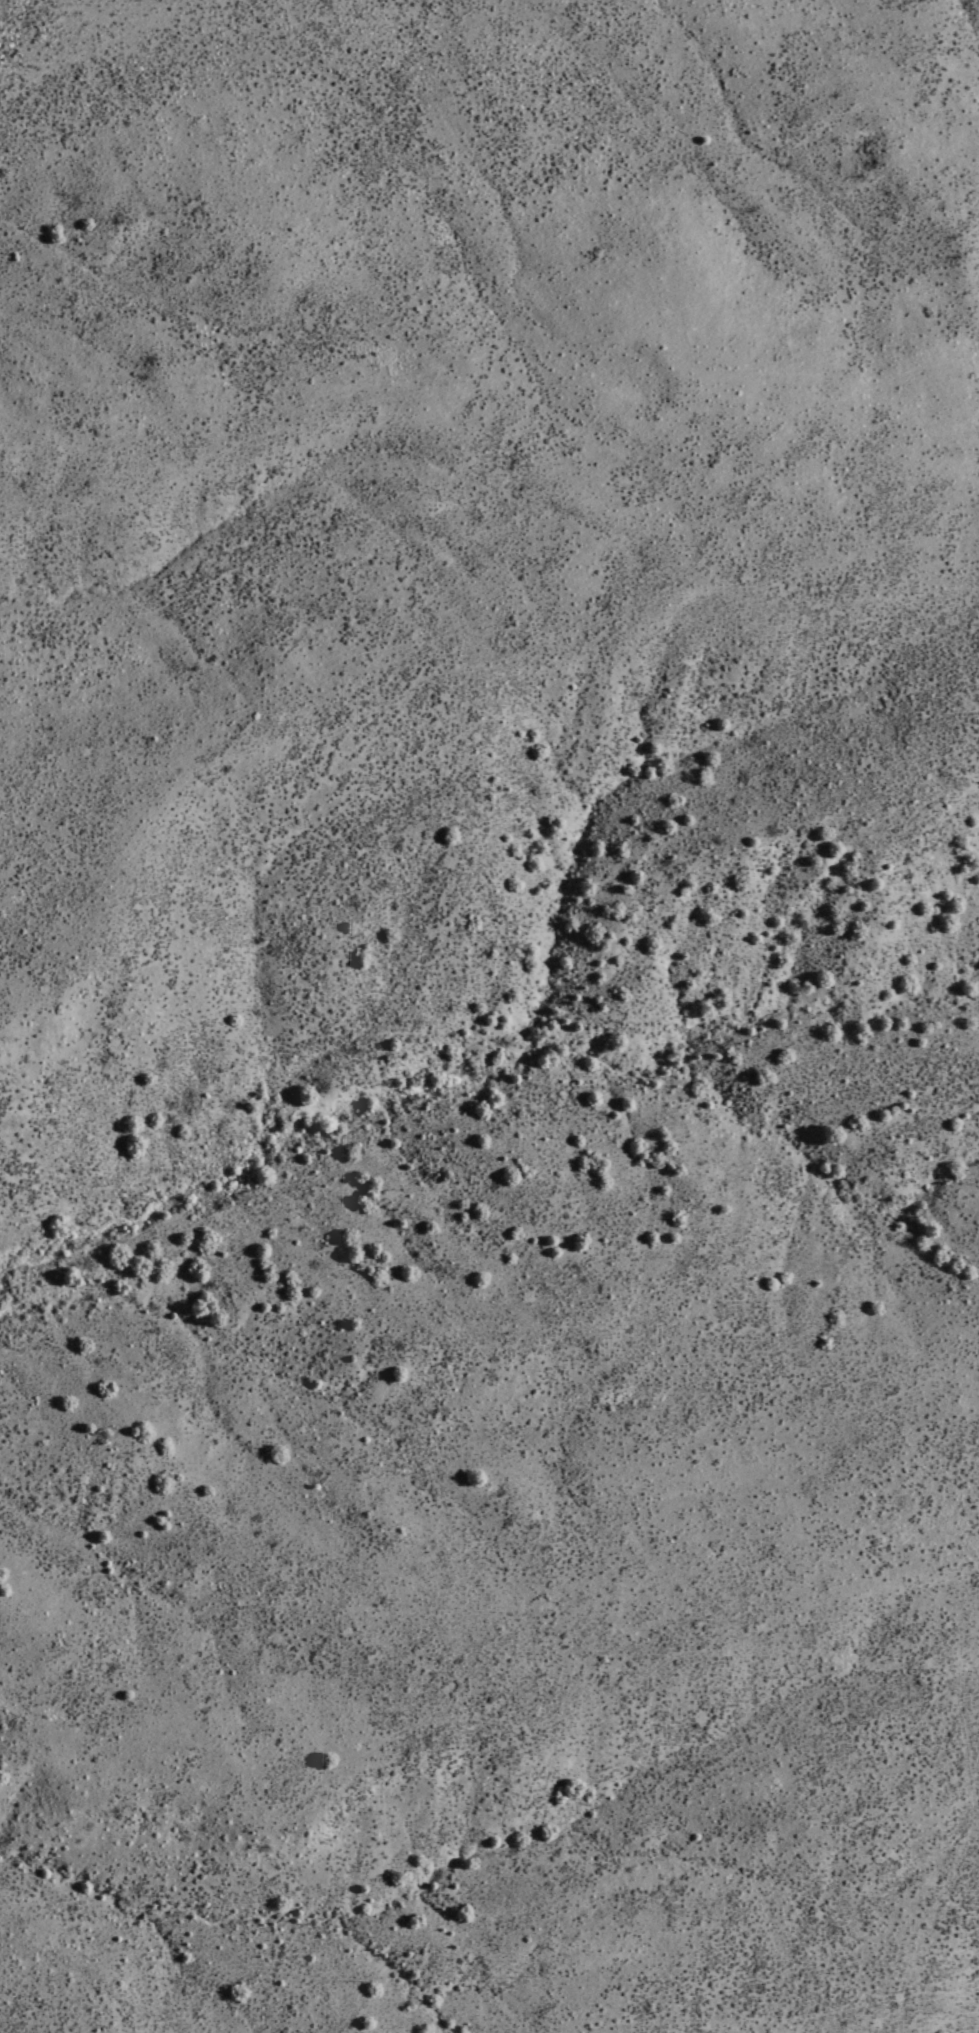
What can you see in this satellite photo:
crop: (585, 321)

